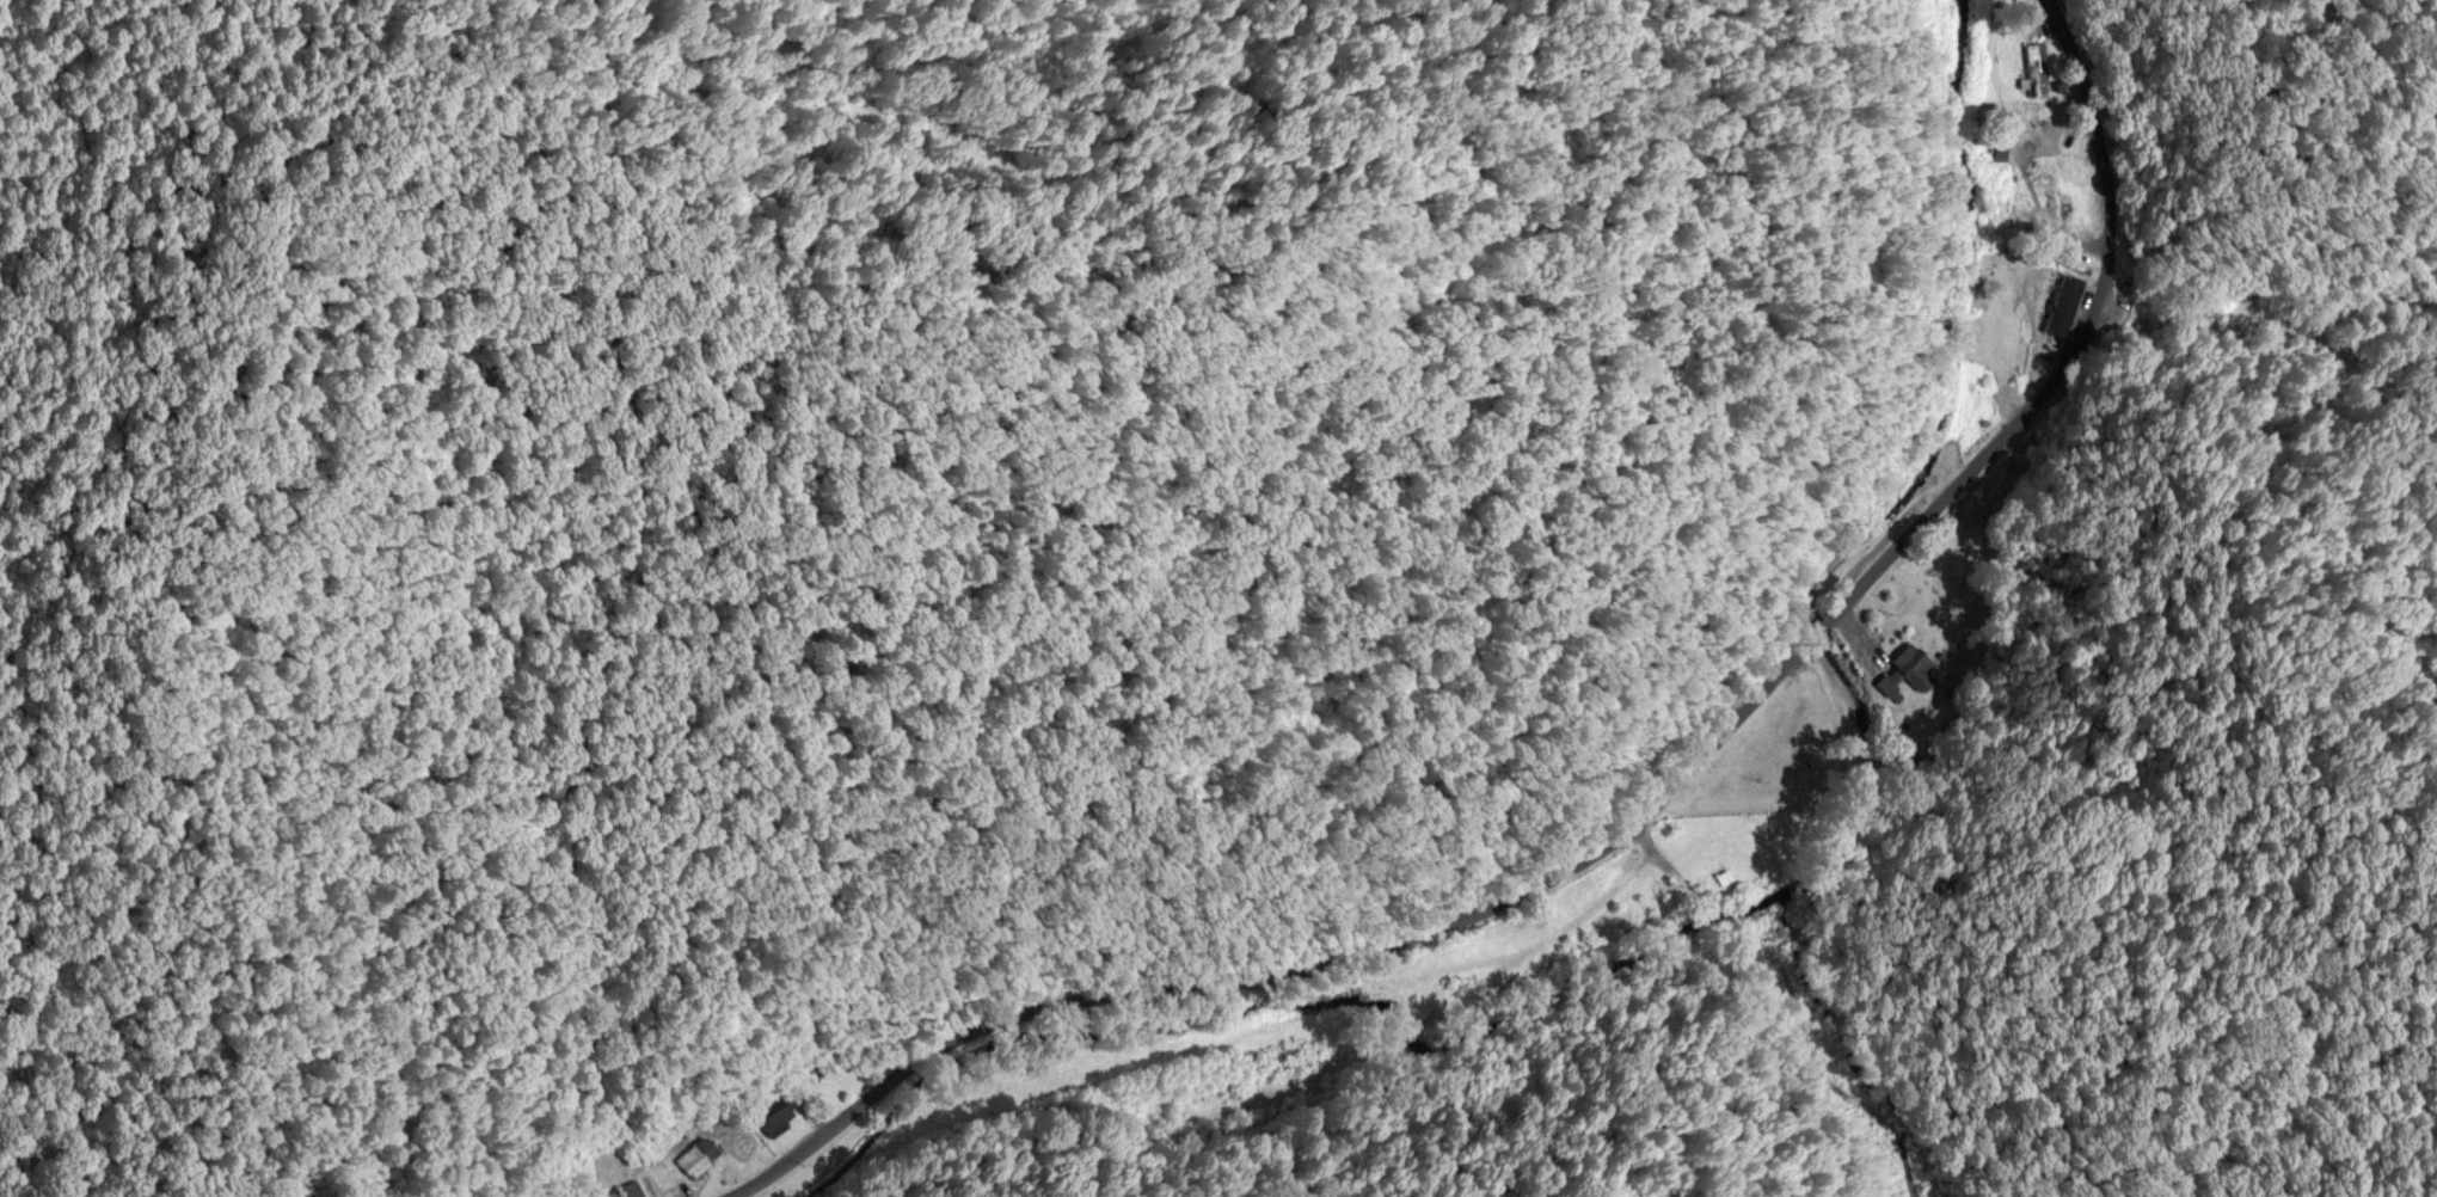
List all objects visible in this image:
building: (2037, 68)
building: (2030, 135)
building: (2051, 198)
building: (2062, 303)
building: (1908, 669)
road: (1641, 818)
building: (1723, 874)
road: (1749, 1017)
building: (776, 1112)
building: (700, 1155)
building: (625, 1190)

